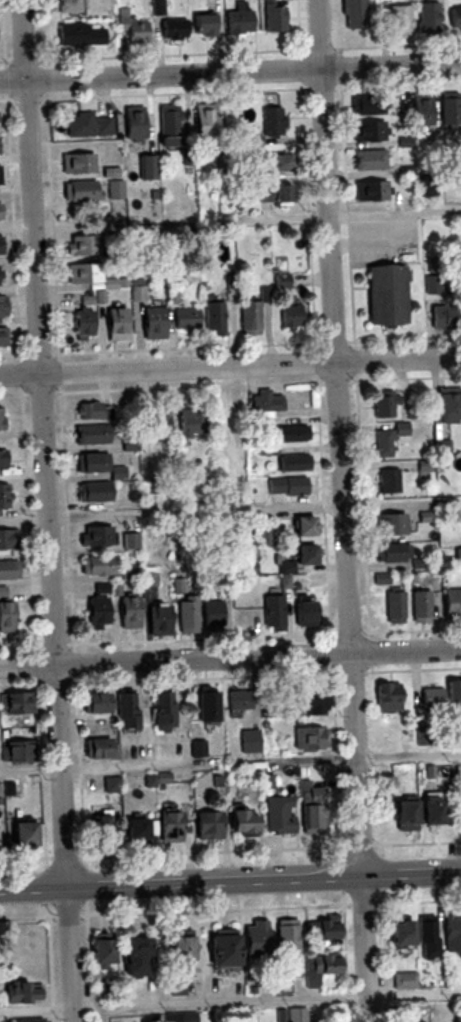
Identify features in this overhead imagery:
building: (62, 5)
building: (158, 7)
building: (354, 13)
building: (272, 16)
building: (453, 17)
building: (427, 18)
building: (238, 21)
building: (399, 21)
building: (201, 24)
building: (131, 28)
building: (171, 28)
building: (78, 34)
road: (230, 71)
building: (367, 105)
building: (419, 109)
building: (448, 111)
building: (271, 120)
building: (203, 121)
building: (133, 123)
building: (87, 124)
building: (168, 124)
building: (368, 131)
building: (369, 160)
building: (77, 162)
building: (279, 162)
building: (113, 189)
building: (80, 190)
building: (369, 191)
building: (276, 194)
road: (395, 211)
road: (368, 237)
building: (0, 245)
building: (83, 245)
building: (74, 273)
building: (384, 296)
building: (2, 307)
building: (290, 316)
building: (444, 317)
building: (185, 318)
building: (213, 318)
building: (249, 318)
building: (83, 324)
building: (115, 324)
building: (152, 324)
building: (2, 337)
road: (230, 364)
building: (269, 402)
building: (386, 406)
building: (446, 408)
building: (91, 411)
building: (1, 418)
building: (190, 421)
building: (155, 422)
building: (290, 434)
building: (92, 435)
building: (388, 438)
building: (442, 448)
building: (2, 459)
building: (292, 463)
building: (98, 466)
building: (425, 470)
building: (389, 481)
building: (286, 486)
building: (94, 493)
building: (4, 497)
road: (402, 504)
road: (47, 511)
road: (344, 511)
road: (171, 512)
building: (389, 524)
building: (301, 527)
building: (264, 533)
building: (96, 536)
building: (8, 539)
building: (391, 553)
building: (302, 555)
building: (457, 558)
building: (96, 566)
building: (7, 570)
building: (451, 605)
building: (420, 606)
building: (393, 607)
building: (240, 611)
building: (126, 612)
building: (273, 613)
building: (303, 613)
building: (186, 614)
building: (209, 614)
building: (94, 615)
building: (7, 617)
building: (158, 620)
road: (230, 654)
building: (443, 694)
building: (387, 697)
building: (239, 700)
building: (15, 703)
building: (95, 703)
building: (206, 707)
building: (293, 708)
building: (162, 710)
building: (127, 711)
building: (309, 739)
building: (249, 741)
building: (100, 748)
building: (16, 751)
road: (409, 754)
road: (122, 766)
building: (428, 808)
building: (311, 810)
building: (401, 813)
building: (276, 815)
building: (458, 815)
building: (240, 822)
building: (206, 825)
building: (166, 827)
building: (98, 828)
building: (132, 831)
building: (19, 835)
road: (230, 882)
building: (323, 930)
building: (399, 933)
building: (452, 934)
building: (285, 937)
building: (428, 939)
building: (254, 941)
building: (177, 949)
building: (220, 951)
building: (97, 953)
building: (131, 957)
building: (320, 968)
building: (406, 980)
building: (178, 988)
building: (22, 993)
road: (415, 994)
building: (28, 1020)
building: (121, 1020)
building: (413, 1021)

